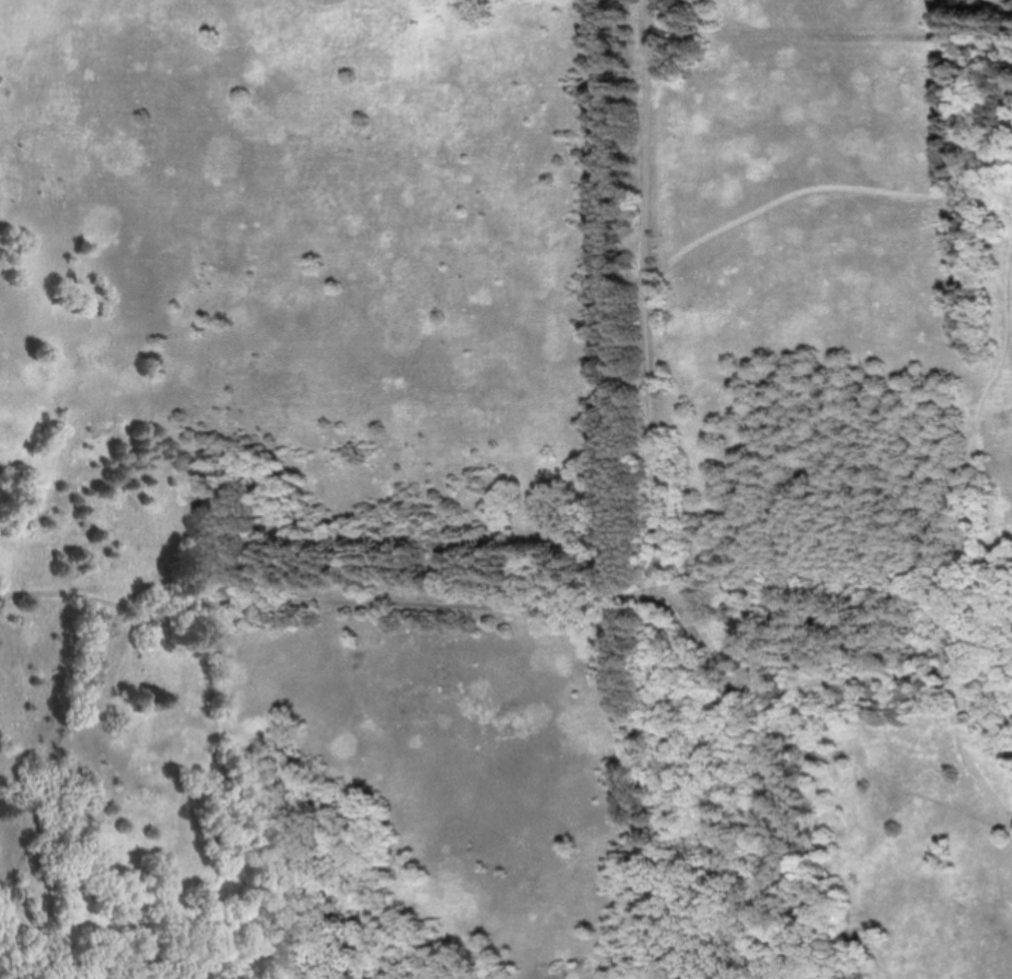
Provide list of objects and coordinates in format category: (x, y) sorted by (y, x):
road: (649, 139)
road: (820, 192)
road: (657, 432)
road: (962, 460)
park: (506, 489)
road: (841, 599)
road: (335, 606)
road: (850, 685)
road: (757, 772)
road: (974, 774)
road: (924, 796)
road: (1009, 820)
road: (878, 958)

